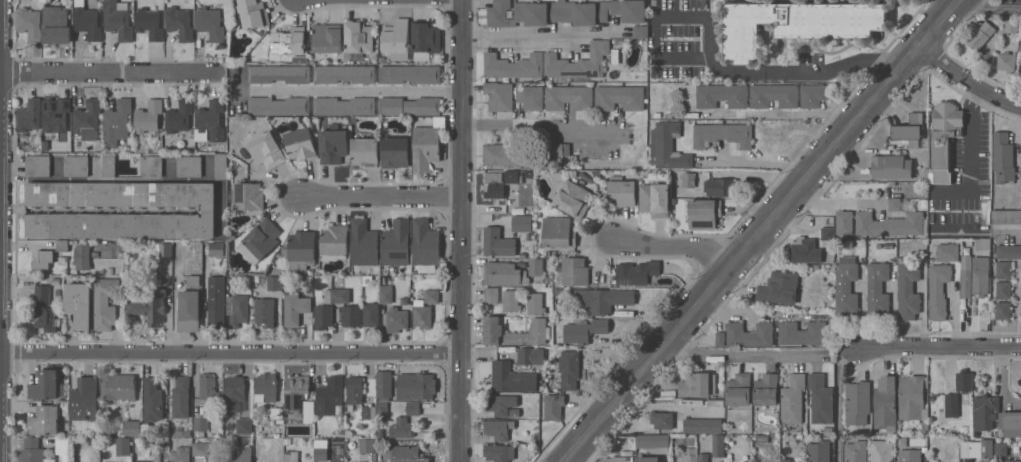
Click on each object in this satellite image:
road: (945, 4)
road: (985, 9)
building: (564, 12)
building: (253, 13)
building: (118, 19)
building: (87, 21)
building: (30, 22)
building: (149, 23)
building: (179, 23)
building: (210, 23)
building: (797, 23)
building: (56, 25)
building: (1012, 26)
building: (640, 31)
building: (980, 34)
building: (358, 36)
building: (396, 36)
building: (327, 37)
road: (525, 37)
building: (425, 38)
building: (289, 40)
building: (618, 55)
building: (1006, 61)
building: (578, 62)
building: (513, 65)
road: (758, 71)
road: (108, 72)
building: (279, 73)
building: (344, 73)
building: (410, 73)
road: (967, 79)
road: (349, 89)
building: (813, 94)
building: (513, 95)
building: (722, 95)
building: (774, 95)
building: (569, 97)
building: (619, 97)
building: (279, 105)
building: (344, 105)
building: (409, 105)
road: (785, 111)
building: (55, 114)
building: (29, 116)
building: (148, 116)
building: (179, 116)
building: (88, 119)
building: (211, 119)
road: (974, 120)
building: (117, 122)
road: (545, 128)
building: (910, 129)
building: (944, 133)
building: (723, 134)
building: (300, 143)
building: (334, 145)
building: (669, 146)
building: (425, 147)
building: (365, 148)
building: (559, 148)
building: (267, 149)
building: (395, 151)
building: (502, 155)
building: (1003, 157)
building: (536, 159)
road: (766, 160)
building: (109, 163)
building: (38, 165)
building: (76, 165)
building: (151, 165)
building: (189, 165)
building: (220, 165)
building: (891, 166)
building: (513, 176)
road: (104, 178)
building: (688, 179)
building: (494, 185)
building: (720, 186)
building: (622, 191)
road: (384, 194)
building: (249, 195)
building: (572, 198)
building: (655, 199)
road: (834, 201)
building: (894, 203)
building: (207, 209)
building: (704, 212)
building: (1006, 216)
building: (844, 221)
building: (522, 223)
building: (889, 223)
road: (459, 230)
building: (559, 232)
road: (758, 232)
building: (828, 234)
building: (263, 237)
road: (1010, 237)
building: (335, 242)
building: (364, 242)
building: (397, 242)
building: (498, 242)
road: (24, 244)
building: (983, 244)
building: (63, 245)
building: (302, 245)
building: (425, 245)
road: (672, 245)
building: (217, 248)
building: (166, 250)
building: (804, 250)
building: (947, 251)
building: (1008, 251)
building: (82, 255)
building: (42, 259)
building: (536, 266)
building: (63, 268)
building: (1004, 269)
building: (574, 270)
building: (110, 271)
building: (636, 272)
building: (504, 273)
building: (980, 276)
building: (193, 280)
building: (56, 282)
building: (275, 282)
building: (966, 284)
building: (779, 287)
building: (846, 288)
building: (878, 289)
building: (938, 289)
building: (1004, 289)
building: (908, 290)
building: (385, 293)
building: (432, 294)
building: (337, 295)
building: (492, 295)
building: (602, 298)
building: (217, 300)
building: (511, 300)
building: (105, 302)
building: (535, 302)
building: (79, 304)
building: (149, 306)
building: (295, 308)
building: (44, 309)
building: (239, 309)
building: (1003, 309)
building: (189, 310)
road: (732, 310)
building: (264, 311)
building: (371, 314)
building: (422, 314)
building: (351, 315)
building: (323, 316)
building: (396, 319)
road: (954, 321)
building: (493, 329)
building: (584, 330)
building: (802, 332)
building: (530, 333)
building: (749, 333)
building: (719, 338)
road: (943, 345)
road: (229, 352)
building: (531, 354)
road: (801, 354)
building: (570, 368)
building: (511, 377)
building: (964, 380)
building: (384, 384)
building: (697, 384)
building: (45, 385)
building: (416, 385)
building: (118, 386)
building: (265, 387)
building: (209, 389)
building: (355, 389)
building: (739, 389)
building: (766, 389)
building: (296, 390)
building: (234, 391)
building: (181, 396)
building: (911, 396)
building: (331, 397)
building: (85, 398)
building: (793, 398)
building: (821, 398)
building: (153, 399)
building: (885, 401)
building: (857, 402)
building: (501, 403)
building: (952, 404)
building: (554, 406)
building: (413, 407)
building: (382, 409)
building: (309, 410)
building: (985, 411)
building: (369, 412)
building: (276, 413)
building: (662, 419)
building: (45, 420)
building: (1011, 423)
building: (200, 424)
building: (703, 425)
building: (132, 426)
building: (244, 426)
building: (402, 427)
building: (498, 428)
building: (178, 433)
building: (187, 433)
building: (652, 441)
building: (165, 443)
building: (367, 445)
building: (718, 445)
building: (123, 446)
building: (62, 447)
building: (200, 448)
building: (977, 448)
building: (1001, 448)
building: (321, 449)
building: (33, 451)
building: (819, 451)
building: (856, 451)
building: (882, 451)
building: (499, 452)
building: (180, 454)
building: (240, 454)
building: (408, 454)
building: (691, 454)
building: (910, 455)
building: (291, 456)
building: (703, 457)
building: (622, 459)
building: (647, 459)
building: (786, 460)
building: (1011, 460)
building: (142, 461)
building: (349, 461)
building: (361, 461)
building: (966, 461)

